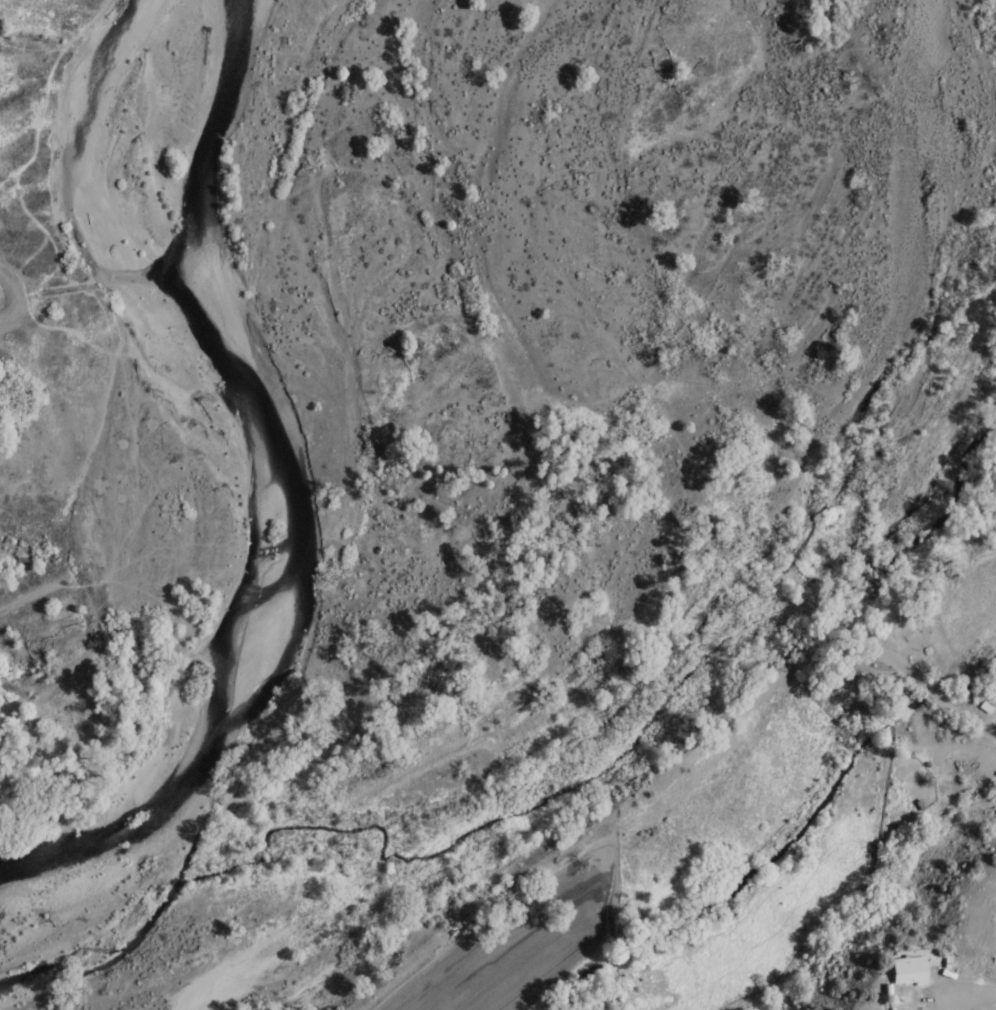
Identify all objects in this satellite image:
river: (681, 616)
road: (935, 806)
building: (900, 973)

